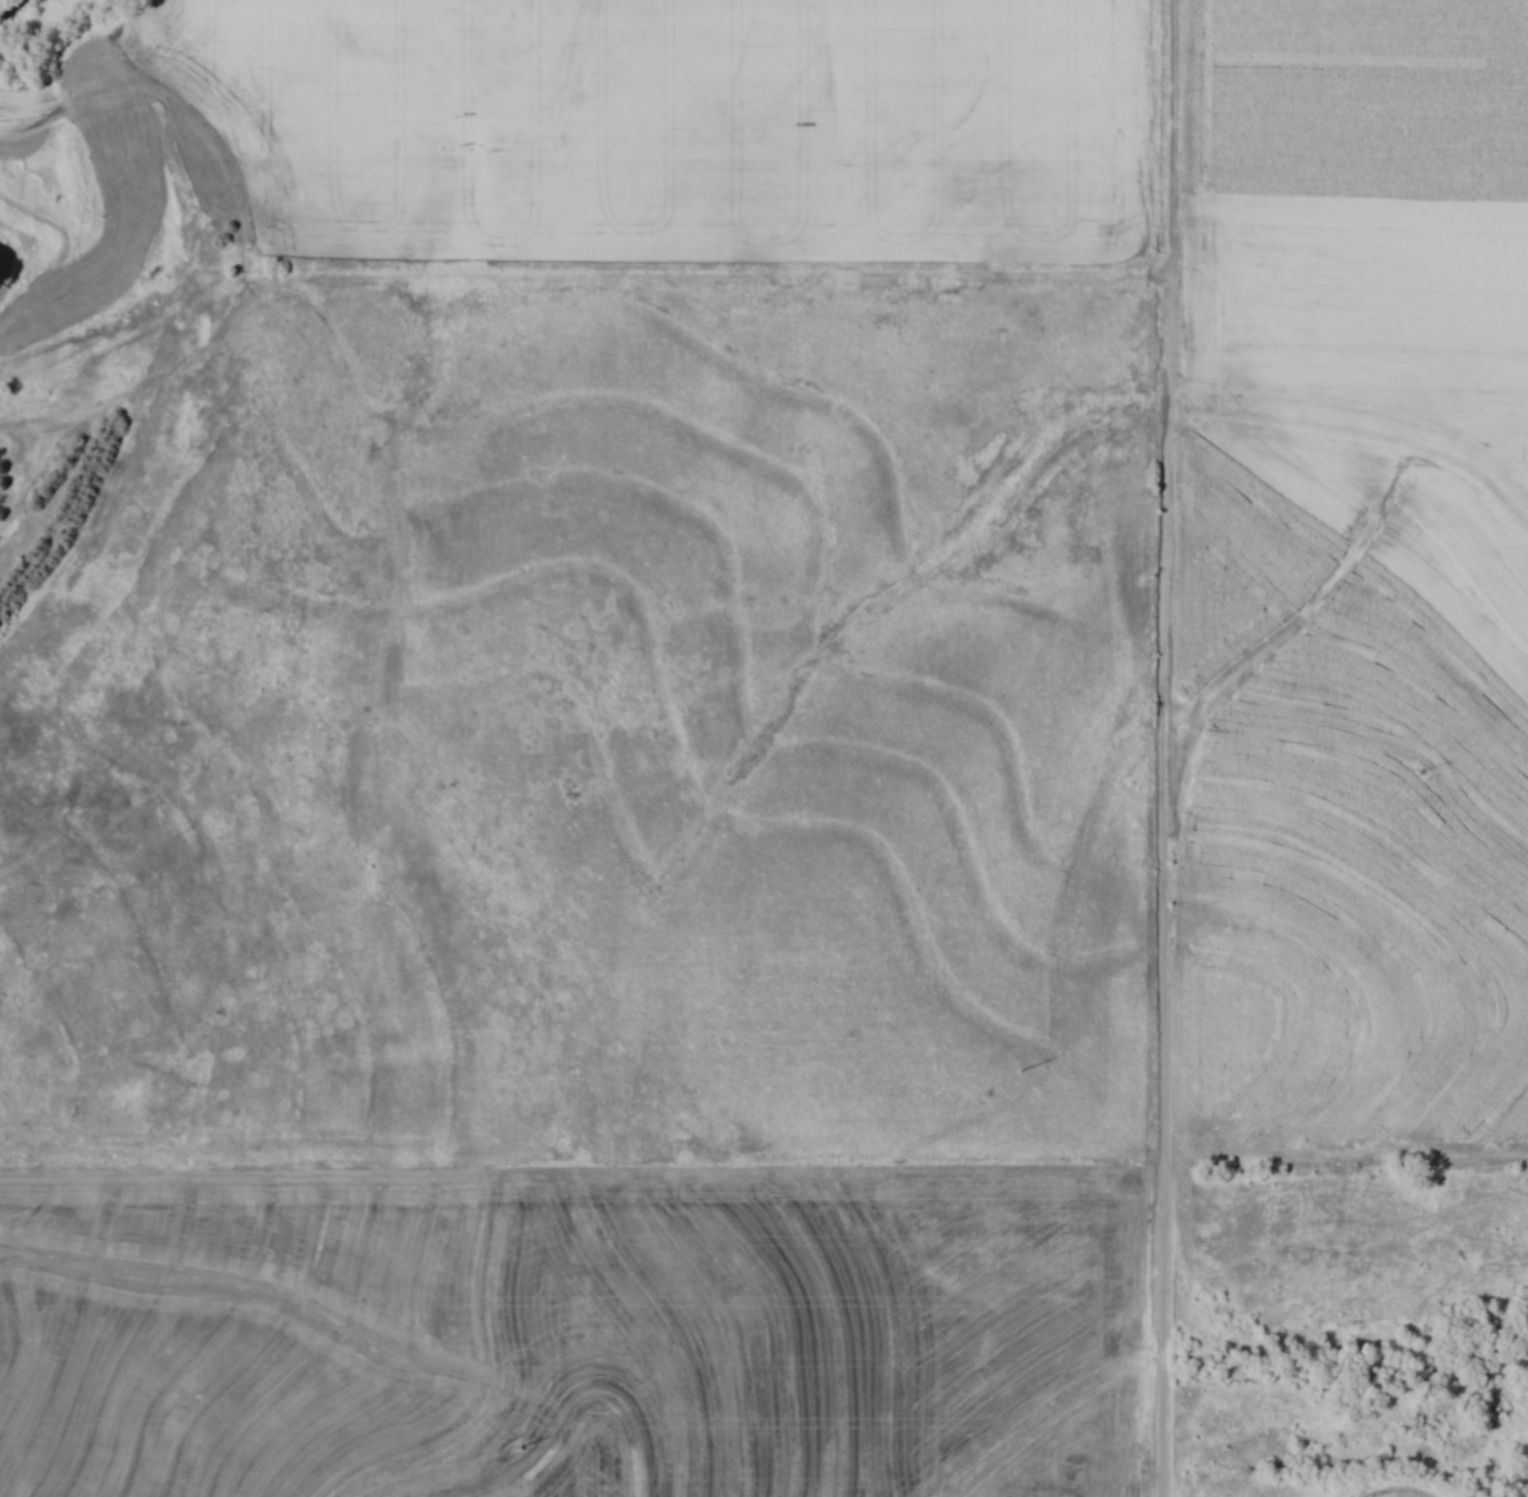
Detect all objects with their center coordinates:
dam: (41, 213)
road: (1163, 748)
building: (1077, 1469)

